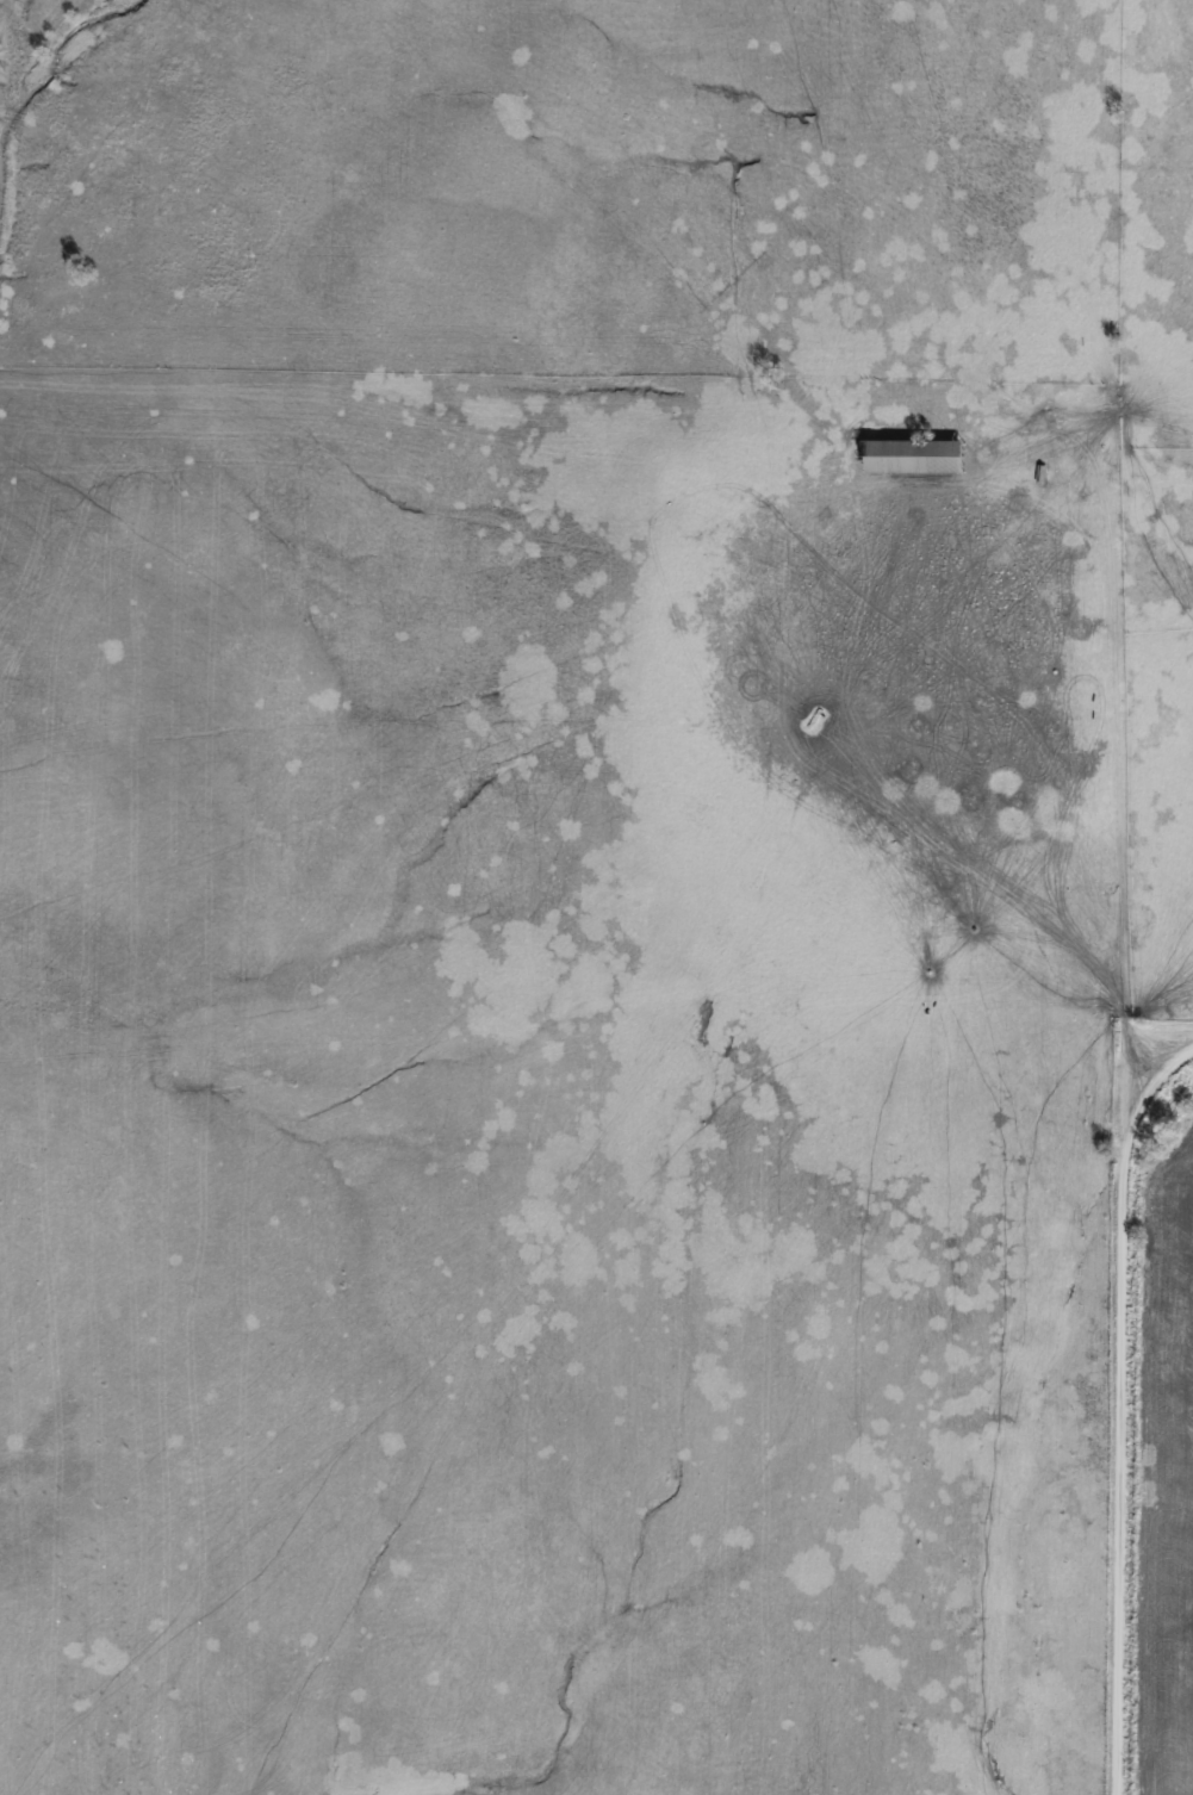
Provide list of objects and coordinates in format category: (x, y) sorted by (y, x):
building: (909, 455)
road: (1120, 1410)

